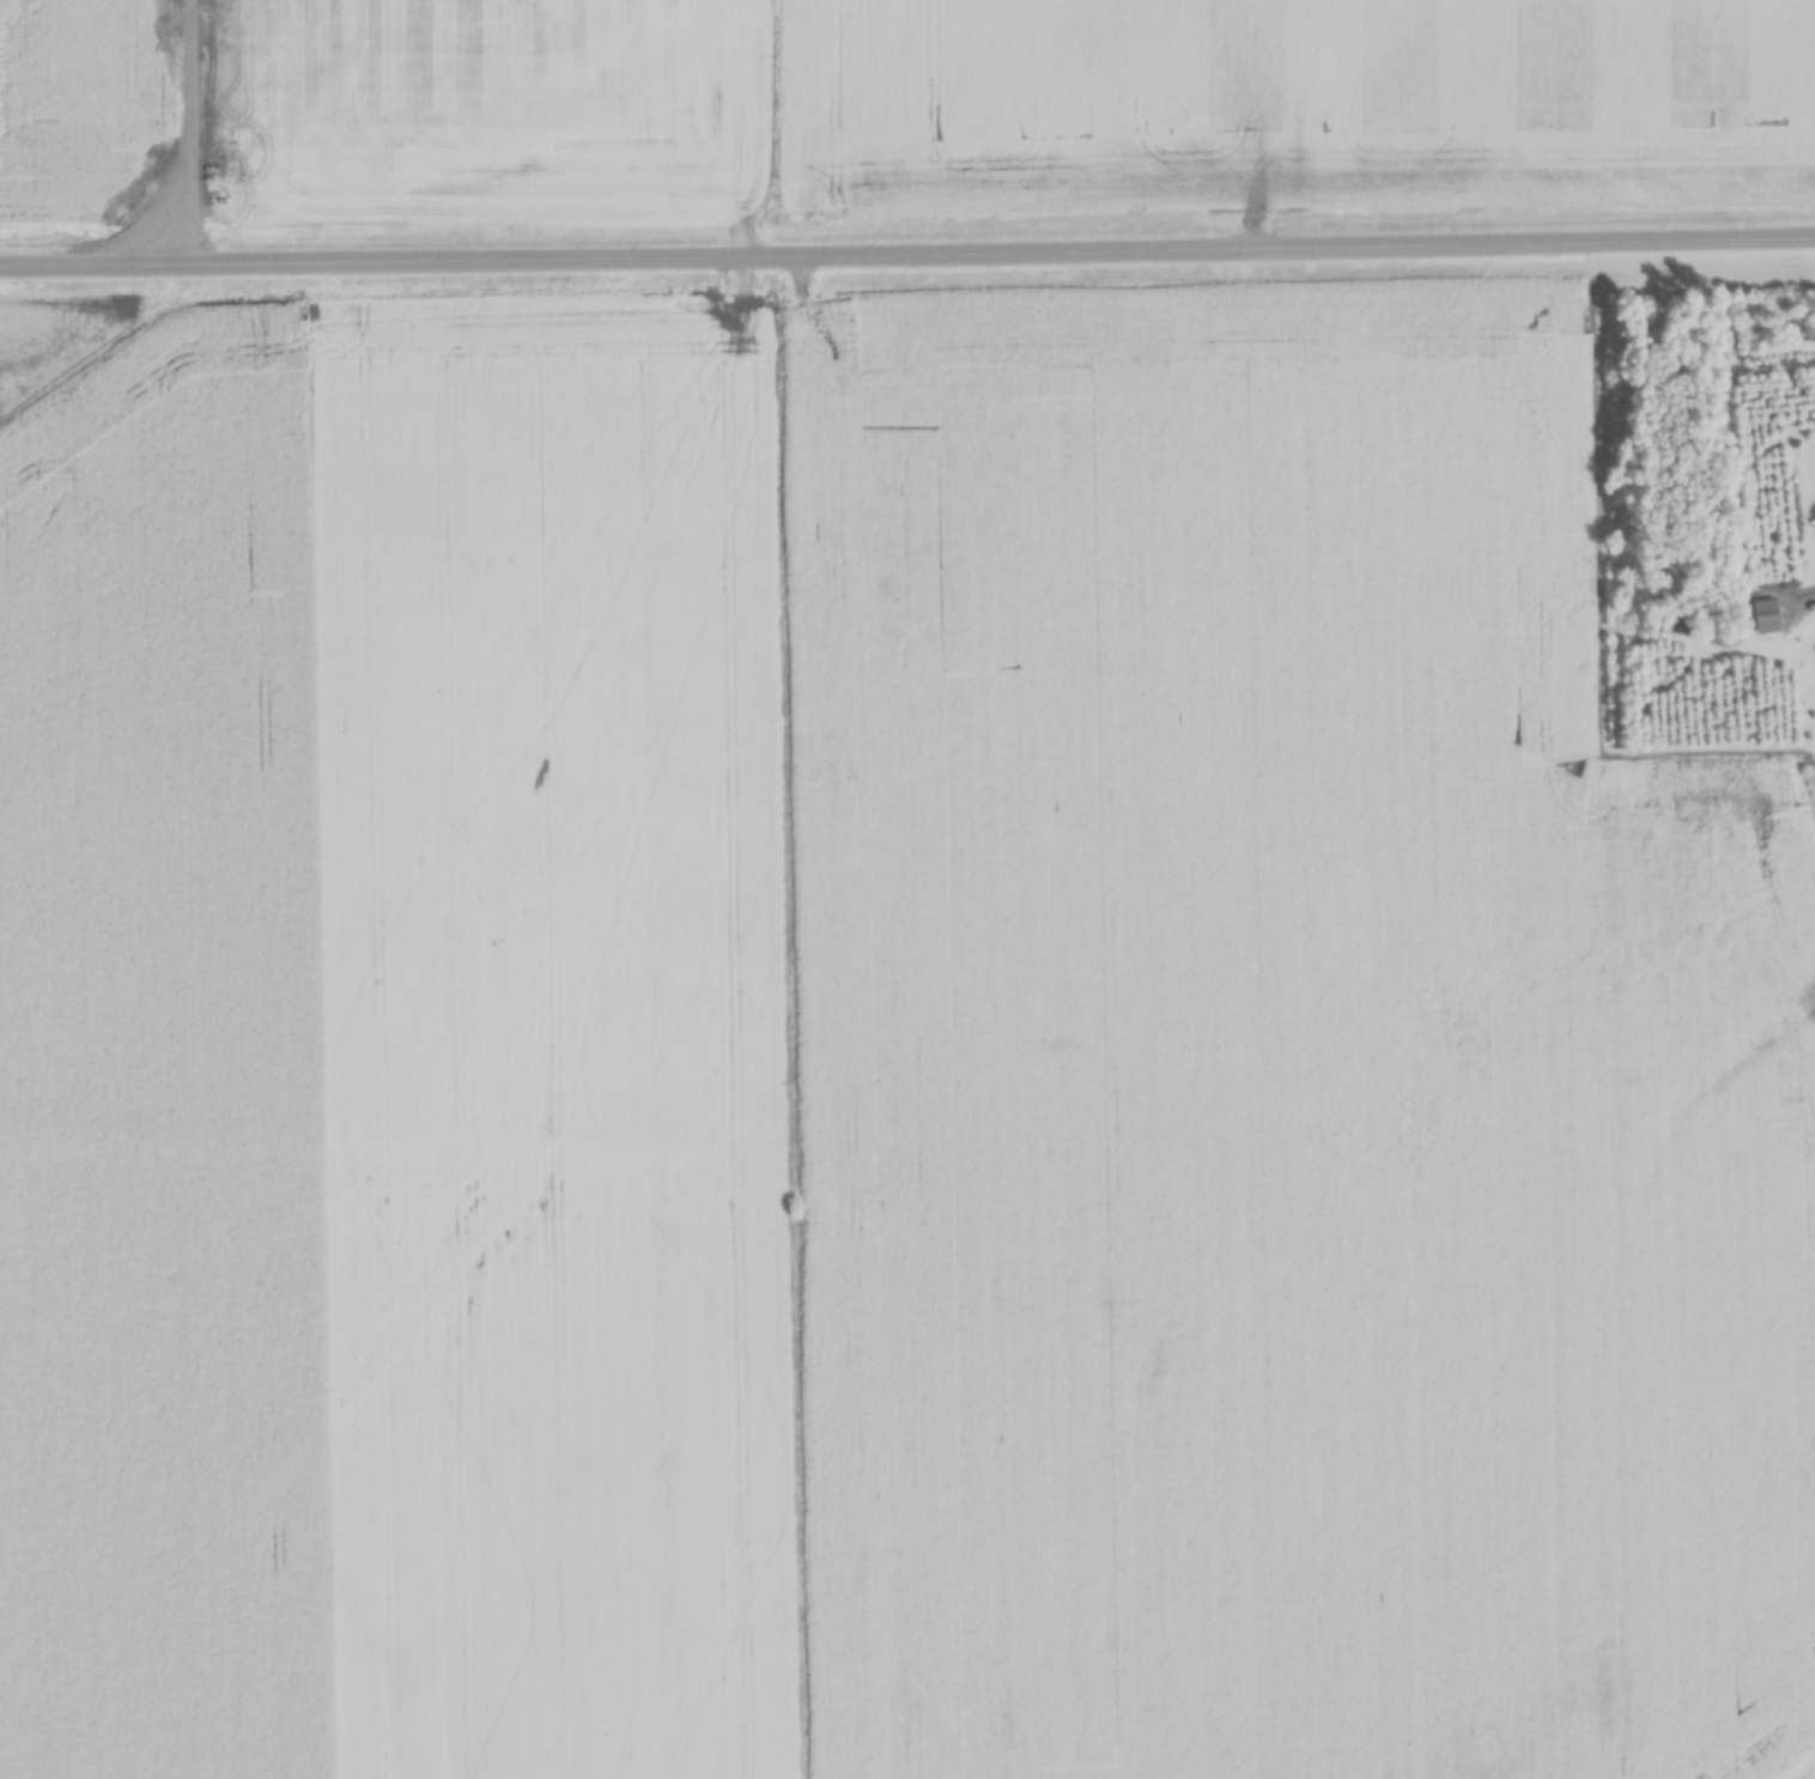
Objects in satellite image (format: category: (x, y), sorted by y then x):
road: (907, 245)
building: (1766, 618)

